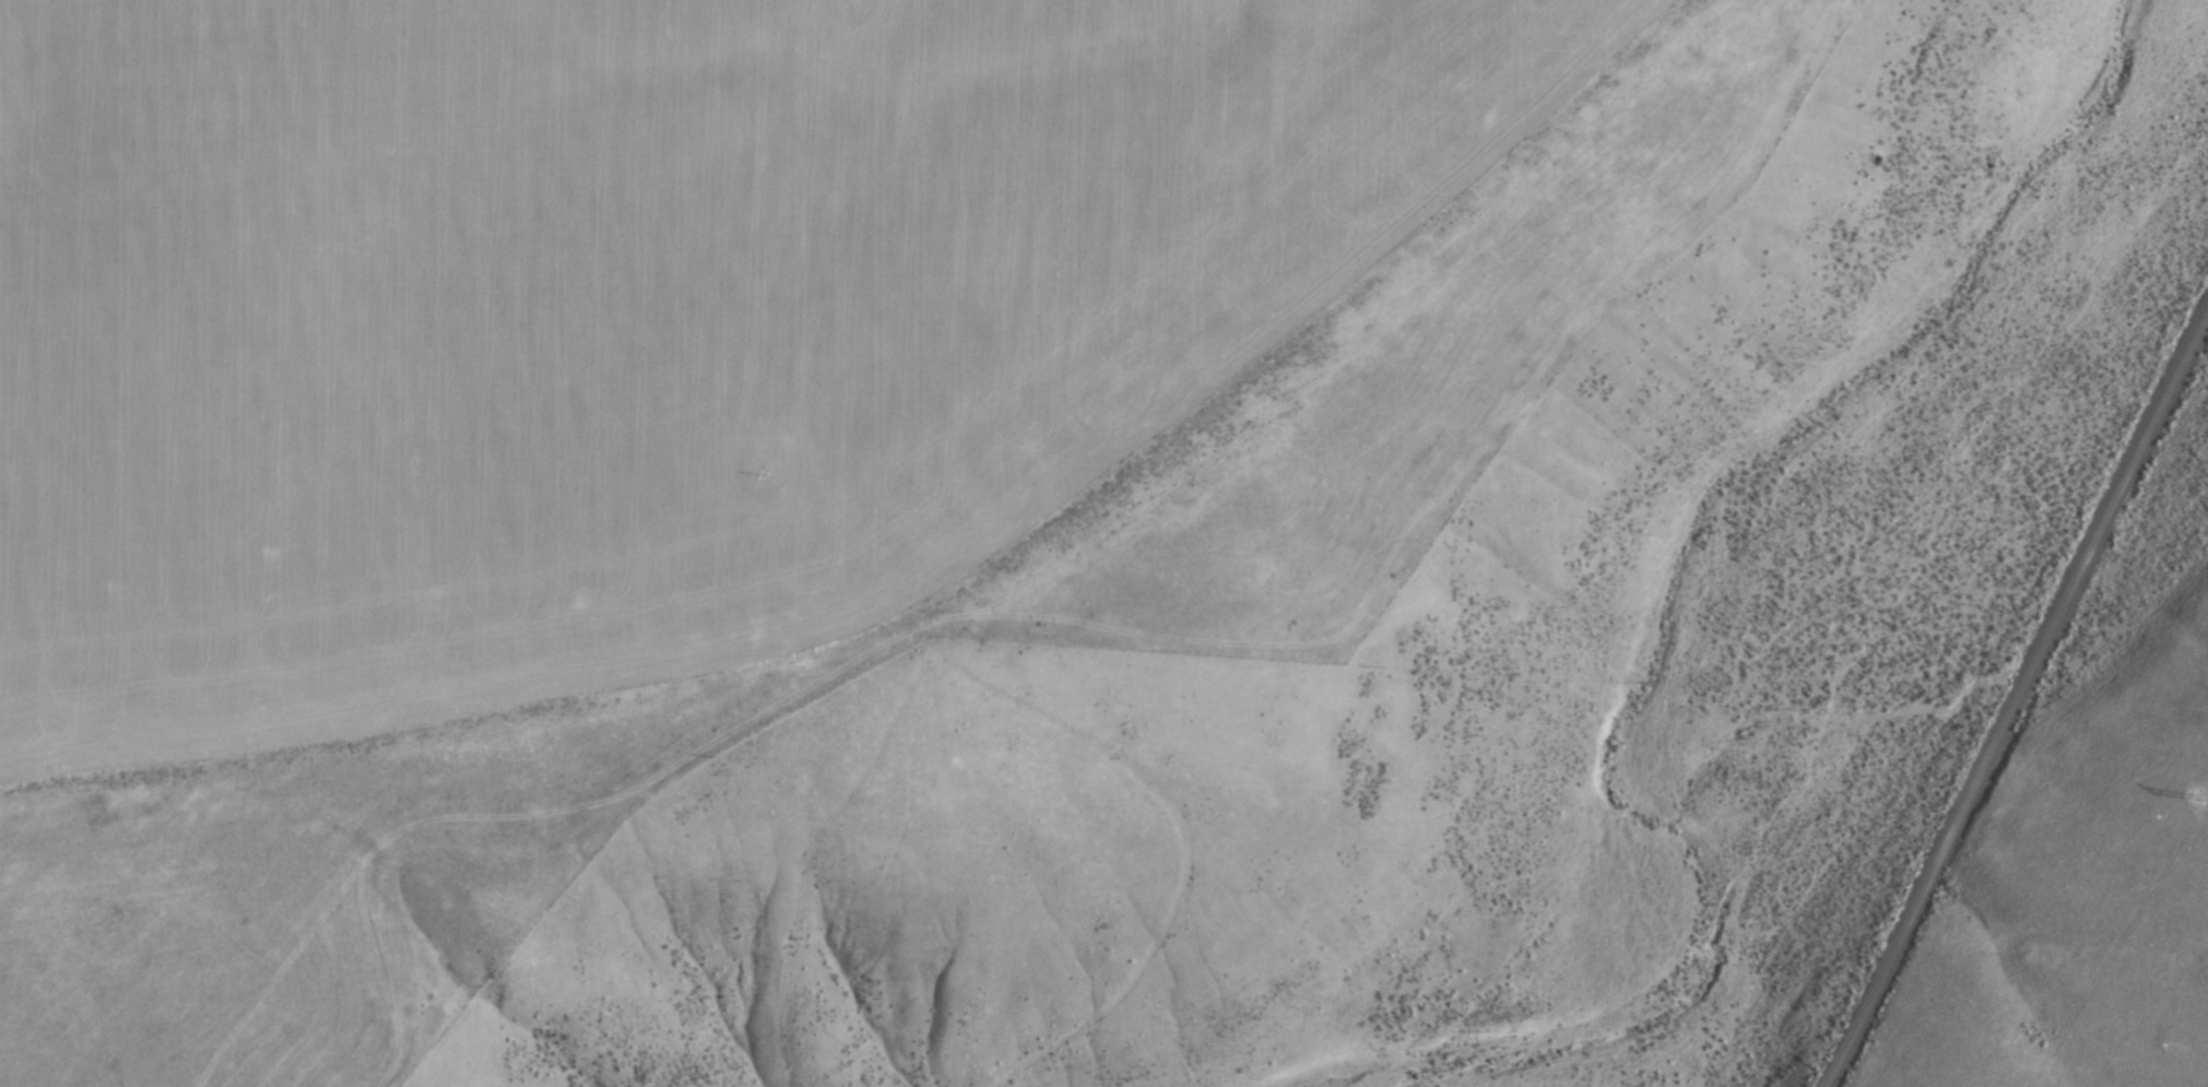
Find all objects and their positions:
road: (2016, 697)

